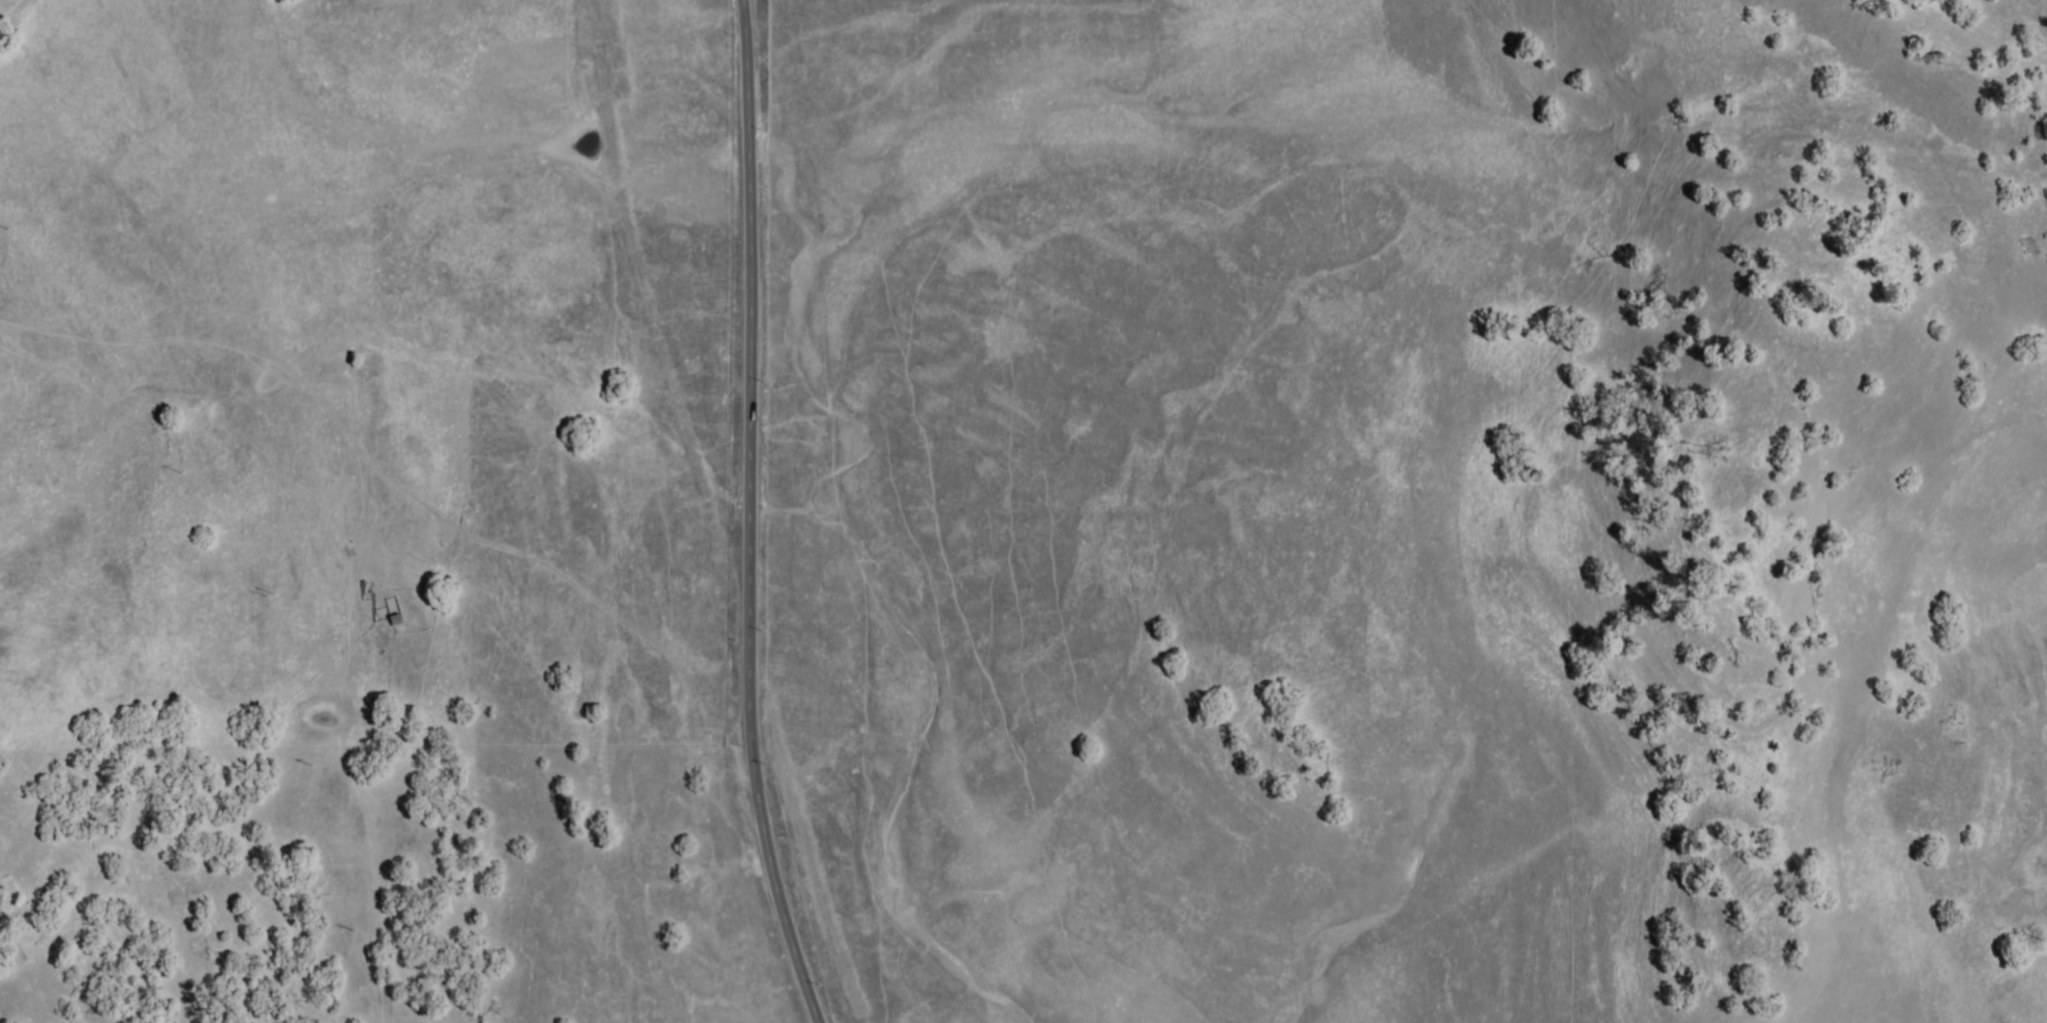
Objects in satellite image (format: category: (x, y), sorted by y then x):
road: (752, 515)

